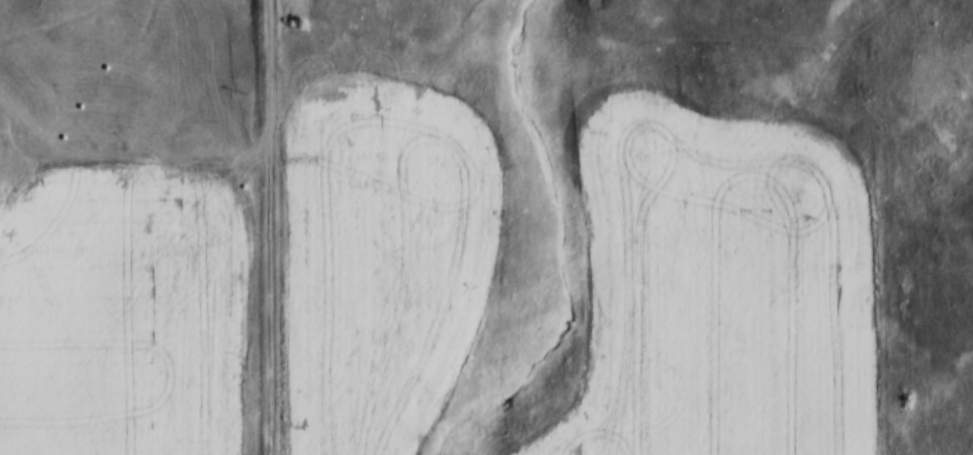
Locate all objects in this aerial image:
road: (268, 227)

